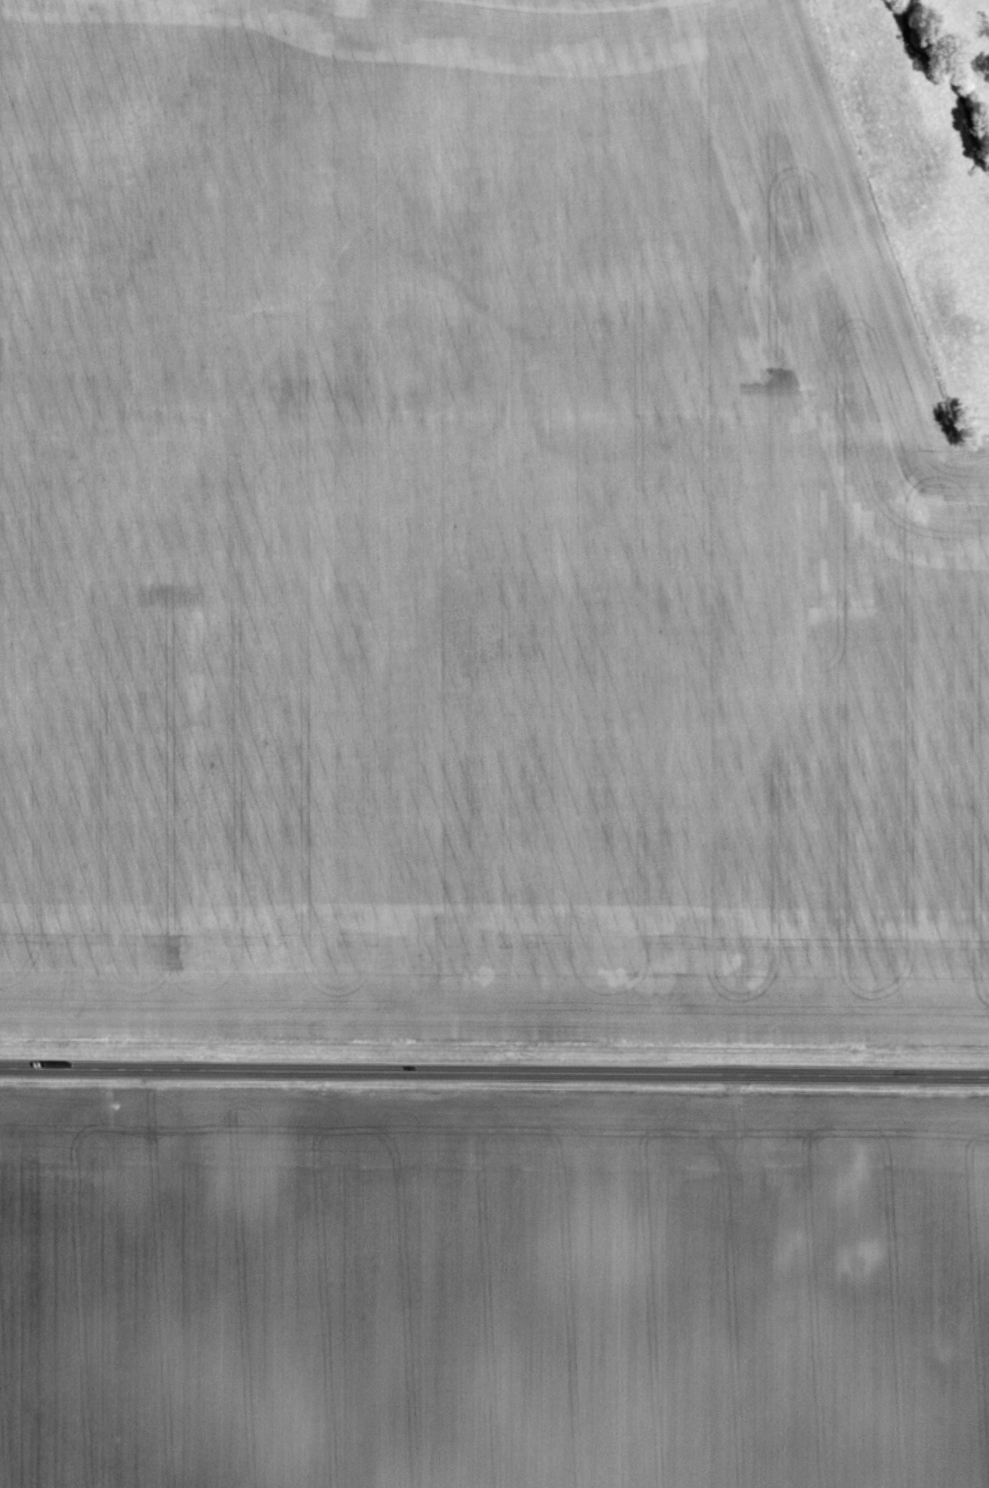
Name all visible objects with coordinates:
road: (494, 1068)

